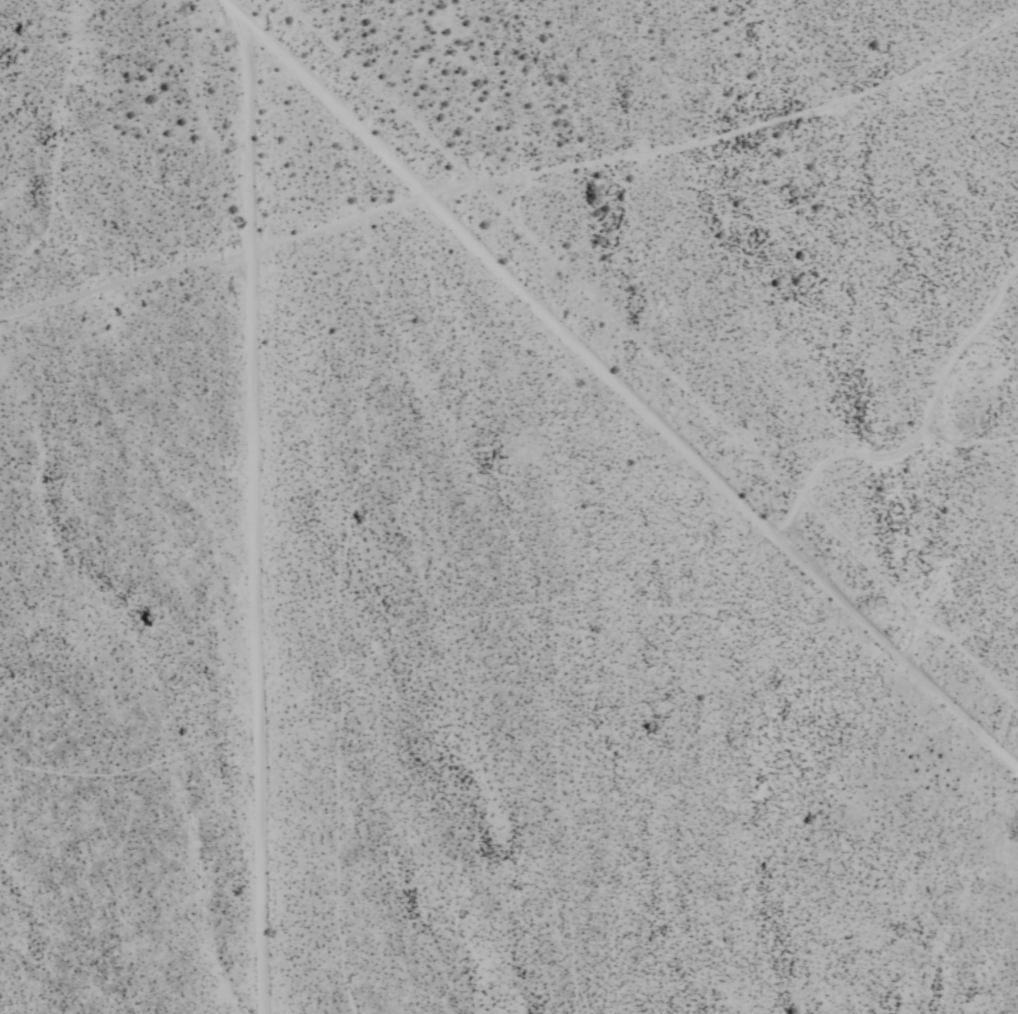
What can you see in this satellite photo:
road: (513, 175)
road: (616, 388)
road: (916, 434)
road: (249, 519)

